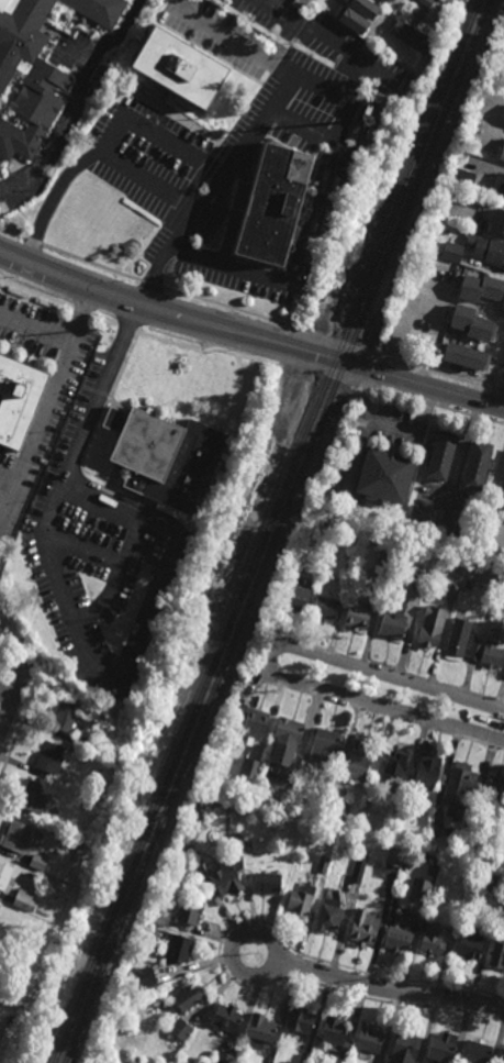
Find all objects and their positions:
building: (441, 0)
building: (389, 1)
building: (425, 2)
building: (365, 8)
building: (98, 10)
building: (352, 21)
building: (503, 31)
building: (413, 37)
road: (331, 42)
road: (246, 49)
building: (177, 69)
building: (26, 76)
building: (99, 79)
road: (339, 98)
road: (74, 99)
railway: (452, 117)
building: (366, 118)
power tower: (245, 120)
road: (152, 135)
building: (502, 154)
road: (132, 173)
road: (334, 173)
building: (461, 178)
building: (499, 186)
building: (266, 206)
building: (496, 224)
building: (489, 252)
building: (450, 253)
road: (37, 254)
road: (91, 264)
road: (153, 285)
building: (480, 290)
road: (168, 311)
building: (470, 325)
road: (34, 328)
power tower: (101, 334)
road: (327, 337)
building: (463, 359)
road: (315, 362)
road: (53, 381)
road: (422, 384)
road: (497, 390)
road: (99, 392)
road: (407, 398)
building: (18, 400)
road: (503, 405)
road: (91, 439)
building: (439, 452)
building: (165, 456)
road: (459, 458)
building: (474, 462)
building: (383, 468)
building: (503, 468)
road: (7, 474)
building: (501, 492)
road: (7, 494)
road: (493, 497)
railway: (267, 531)
railway: (275, 531)
road: (44, 536)
road: (81, 547)
road: (125, 553)
building: (384, 557)
building: (350, 558)
power tower: (10, 562)
building: (156, 569)
building: (418, 577)
building: (467, 583)
building: (450, 591)
building: (294, 595)
road: (52, 596)
building: (323, 606)
road: (30, 613)
building: (356, 613)
building: (391, 623)
building: (0, 628)
building: (0, 629)
road: (141, 629)
building: (428, 630)
building: (461, 639)
building: (492, 653)
road: (13, 655)
road: (269, 662)
power tower: (45, 668)
road: (389, 668)
road: (2, 677)
road: (2, 685)
road: (20, 685)
road: (18, 693)
road: (8, 694)
road: (12, 712)
building: (64, 715)
road: (379, 715)
road: (24, 718)
building: (253, 722)
building: (287, 728)
building: (86, 743)
building: (323, 743)
building: (83, 755)
building: (48, 756)
building: (358, 756)
building: (394, 764)
building: (248, 767)
building: (291, 767)
building: (301, 772)
building: (424, 775)
building: (458, 783)
building: (491, 793)
building: (32, 797)
building: (54, 799)
building: (367, 801)
building: (335, 809)
building: (453, 813)
building: (366, 818)
building: (435, 828)
building: (467, 829)
building: (14, 835)
building: (503, 843)
building: (78, 845)
building: (246, 845)
building: (394, 855)
building: (194, 859)
building: (37, 862)
building: (322, 865)
building: (358, 866)
building: (3, 874)
building: (226, 881)
building: (428, 881)
building: (265, 882)
building: (494, 885)
building: (60, 886)
building: (425, 893)
building: (23, 900)
building: (299, 900)
building: (497, 900)
building: (460, 903)
building: (4, 907)
building: (189, 910)
building: (327, 915)
building: (159, 917)
building: (363, 927)
road: (260, 932)
building: (433, 939)
building: (145, 940)
building: (396, 940)
building: (470, 944)
building: (21, 946)
road: (219, 946)
building: (178, 950)
building: (497, 953)
building: (142, 978)
road: (388, 989)
building: (188, 997)
building: (14, 1015)
building: (225, 1018)
building: (299, 1021)
building: (259, 1028)
building: (180, 1030)
building: (335, 1036)
building: (3, 1037)
building: (368, 1040)
building: (404, 1048)
building: (441, 1049)
building: (475, 1052)
building: (223, 1058)
building: (304, 1058)
building: (502, 1058)

